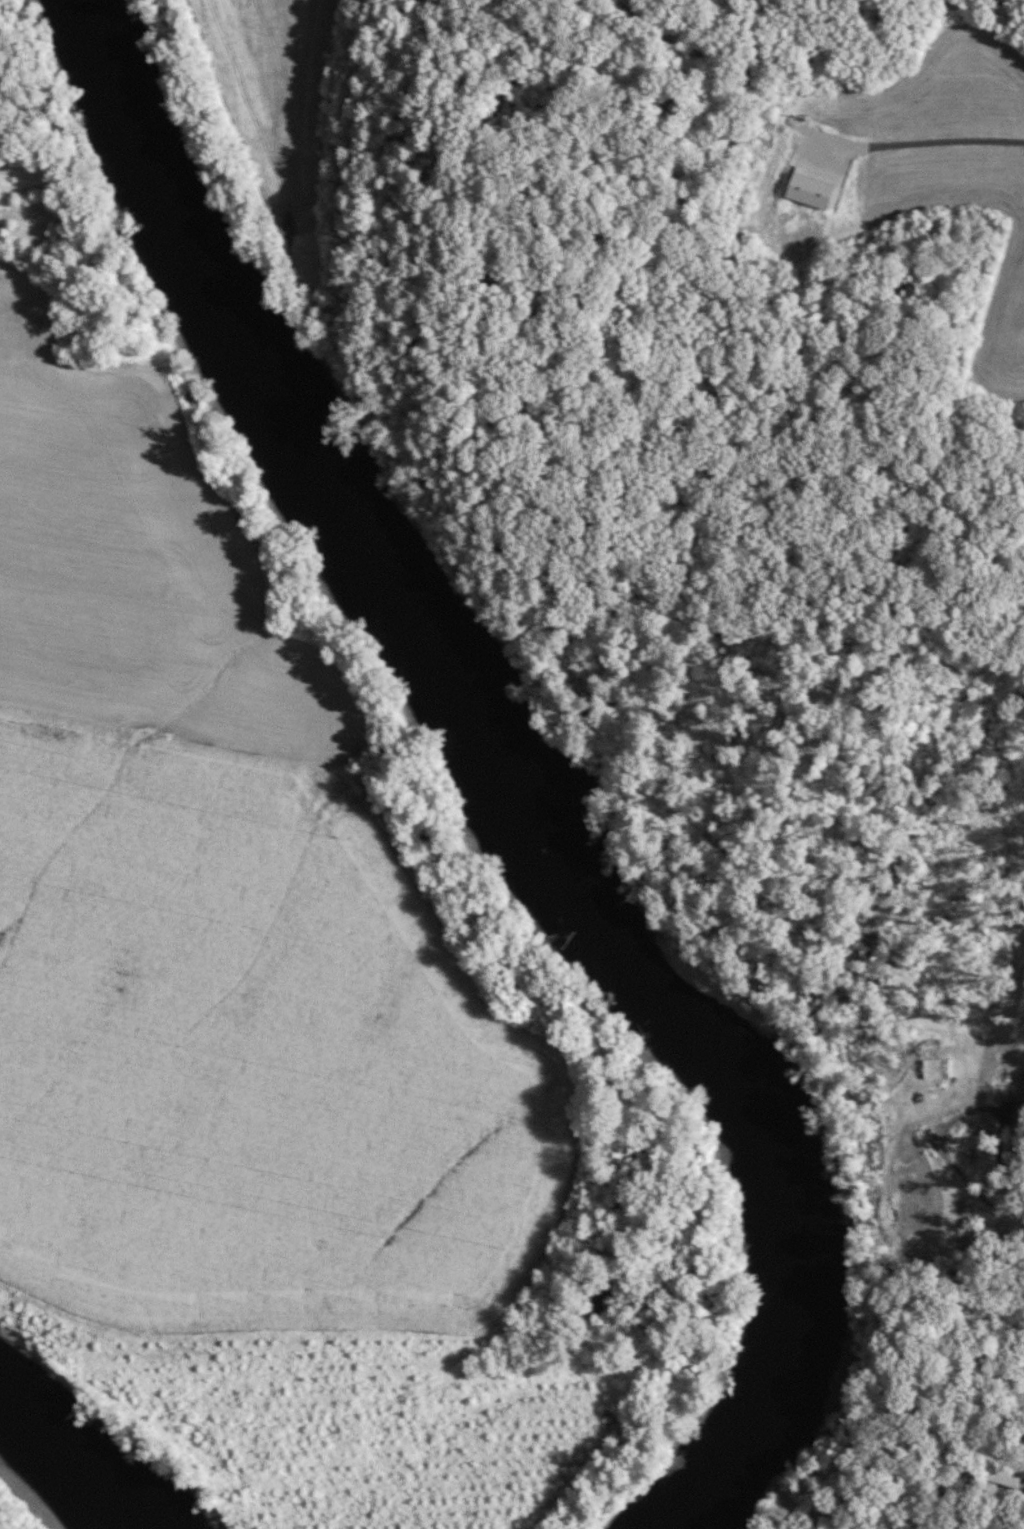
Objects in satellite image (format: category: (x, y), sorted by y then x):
road: (932, 136)
river: (505, 771)
building: (1011, 1088)
road: (954, 1118)
building: (1016, 1134)
building: (1006, 1476)
river: (57, 1479)

